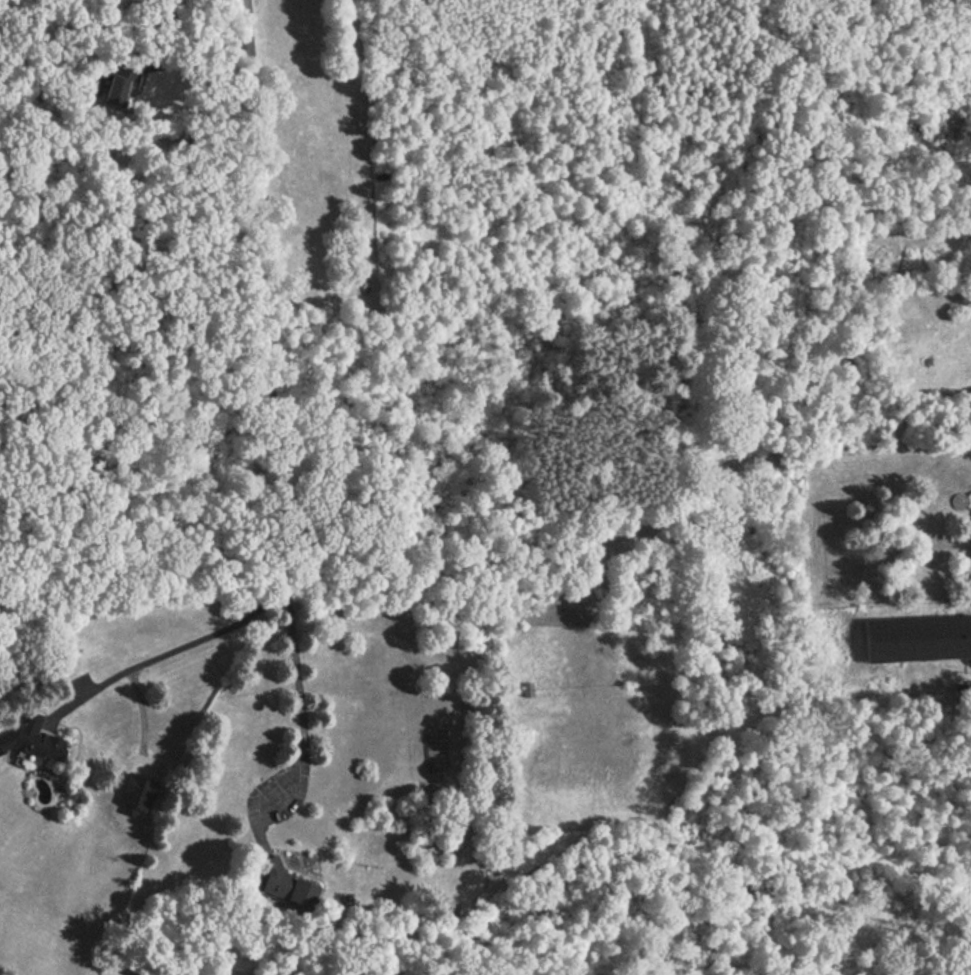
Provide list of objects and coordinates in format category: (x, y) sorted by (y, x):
road: (192, 60)
road: (260, 393)
building: (914, 638)
road: (167, 647)
building: (37, 740)
building: (300, 894)

